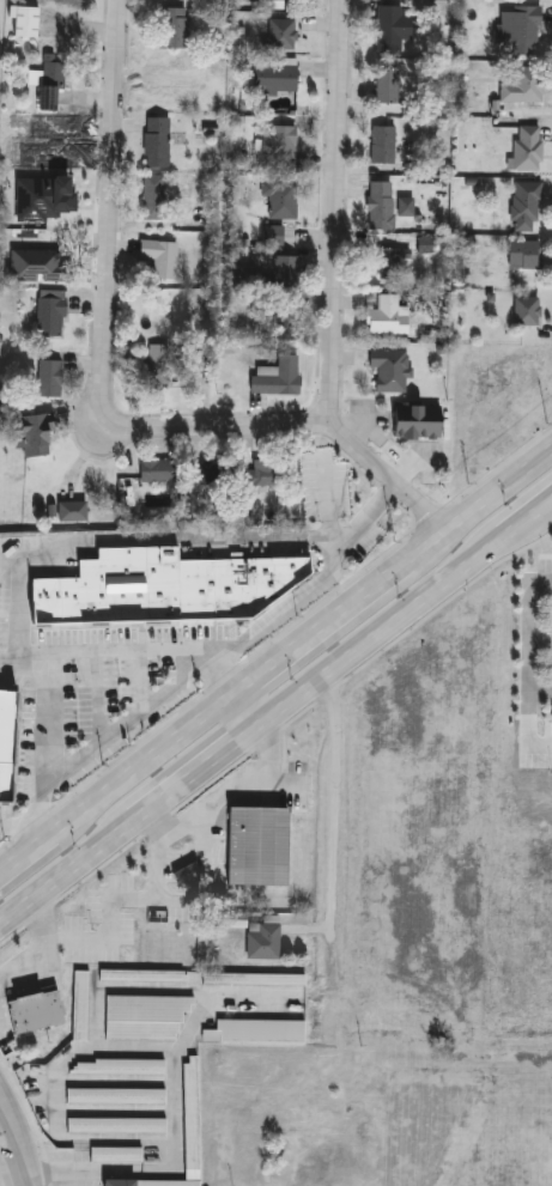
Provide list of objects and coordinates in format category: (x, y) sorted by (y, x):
building: (266, 0)
building: (22, 23)
building: (170, 29)
building: (516, 29)
building: (389, 30)
building: (277, 36)
building: (269, 78)
building: (44, 81)
building: (521, 87)
building: (383, 89)
building: (154, 144)
building: (381, 146)
building: (275, 148)
building: (524, 150)
building: (150, 199)
building: (44, 201)
building: (279, 202)
building: (378, 207)
building: (522, 207)
road: (333, 213)
road: (120, 219)
building: (269, 237)
building: (22, 255)
building: (521, 256)
building: (158, 259)
building: (388, 262)
building: (284, 274)
building: (523, 312)
building: (48, 315)
building: (383, 318)
building: (153, 367)
building: (387, 371)
building: (44, 379)
building: (272, 381)
building: (413, 424)
road: (314, 427)
building: (31, 433)
building: (156, 473)
building: (211, 474)
building: (257, 474)
building: (68, 512)
road: (151, 543)
building: (160, 591)
road: (285, 608)
road: (529, 641)
road: (541, 641)
road: (53, 653)
road: (274, 659)
road: (540, 692)
road: (244, 707)
road: (274, 708)
building: (6, 746)
road: (222, 799)
road: (333, 809)
building: (254, 849)
building: (261, 939)
road: (38, 945)
building: (253, 981)
building: (78, 1006)
building: (30, 1012)
building: (142, 1018)
building: (259, 1033)
building: (117, 1069)
building: (113, 1097)
road: (176, 1112)
building: (189, 1114)
road: (17, 1126)
building: (114, 1126)
building: (113, 1156)
road: (7, 1158)
road: (17, 1176)
building: (115, 1182)
building: (166, 1184)

